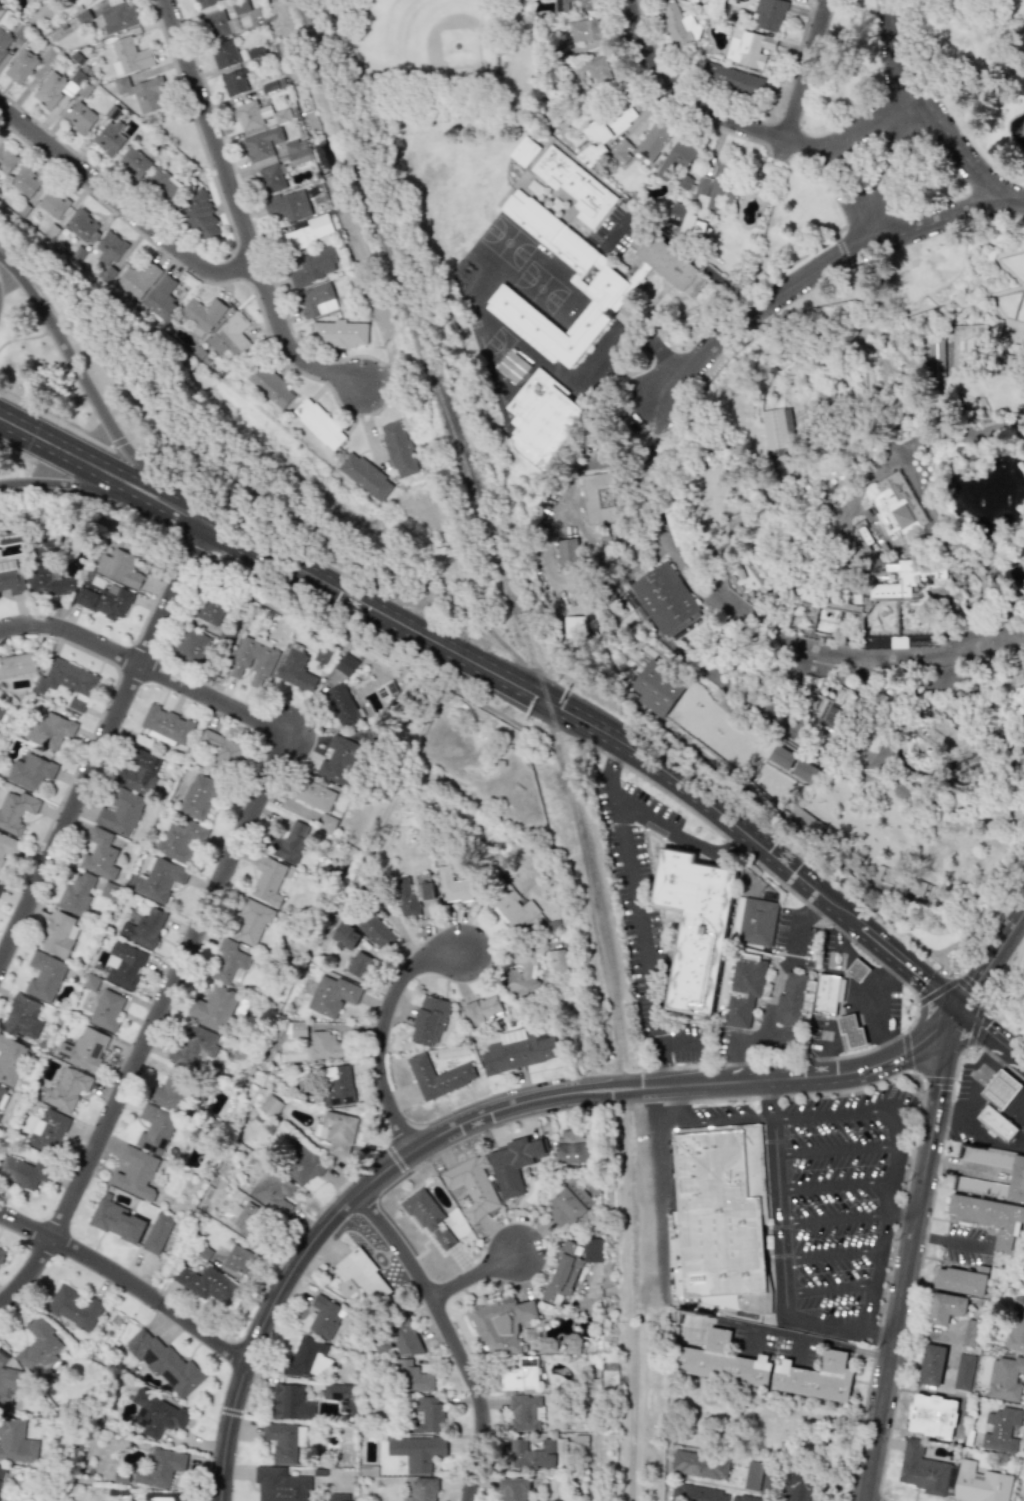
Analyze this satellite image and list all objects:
building: (205, 3)
building: (590, 4)
building: (562, 5)
building: (240, 6)
building: (1, 9)
building: (769, 14)
building: (116, 17)
building: (679, 24)
building: (218, 25)
building: (587, 29)
building: (4, 41)
road: (343, 42)
park: (434, 44)
building: (749, 48)
building: (224, 53)
building: (129, 56)
building: (20, 66)
building: (599, 67)
building: (731, 78)
road: (801, 79)
building: (234, 82)
building: (52, 89)
building: (143, 93)
building: (583, 97)
road: (944, 104)
road: (698, 107)
building: (250, 115)
building: (80, 117)
road: (935, 117)
road: (871, 120)
building: (609, 125)
building: (109, 138)
building: (656, 138)
building: (261, 143)
building: (295, 151)
building: (525, 151)
building: (622, 151)
building: (678, 156)
building: (6, 160)
building: (134, 162)
building: (271, 178)
building: (25, 181)
building: (684, 182)
building: (724, 183)
building: (162, 184)
building: (575, 185)
building: (701, 191)
road: (846, 196)
building: (52, 205)
road: (125, 205)
building: (288, 205)
road: (242, 214)
building: (678, 214)
building: (199, 215)
road: (932, 217)
building: (81, 225)
building: (700, 231)
building: (306, 233)
building: (110, 254)
road: (996, 258)
road: (819, 265)
building: (315, 266)
road: (956, 274)
building: (137, 279)
building: (583, 283)
road: (889, 293)
road: (991, 293)
building: (161, 298)
building: (317, 300)
building: (202, 315)
road: (1023, 323)
fountain: (1011, 329)
road: (624, 331)
building: (339, 333)
road: (33, 335)
building: (230, 336)
road: (1017, 341)
building: (513, 367)
road: (901, 372)
road: (885, 382)
road: (87, 385)
building: (271, 386)
road: (903, 386)
road: (921, 395)
road: (855, 403)
building: (966, 412)
road: (54, 419)
building: (543, 420)
building: (319, 423)
building: (778, 427)
road: (1021, 429)
road: (957, 430)
road: (134, 436)
building: (399, 448)
road: (67, 452)
building: (365, 476)
road: (66, 482)
building: (667, 488)
building: (607, 497)
road: (158, 500)
road: (653, 503)
building: (897, 504)
road: (798, 505)
park: (844, 506)
road: (283, 507)
road: (192, 518)
building: (675, 522)
road: (1013, 527)
road: (740, 529)
road: (1019, 531)
building: (805, 534)
road: (996, 538)
road: (948, 539)
road: (833, 547)
road: (542, 548)
road: (979, 553)
building: (568, 554)
building: (872, 559)
building: (695, 560)
road: (638, 562)
building: (119, 568)
road: (786, 568)
road: (719, 574)
building: (11, 578)
building: (47, 579)
road: (602, 579)
building: (884, 585)
road: (937, 586)
building: (664, 597)
road: (702, 597)
building: (103, 598)
road: (604, 602)
road: (706, 603)
building: (207, 609)
road: (1006, 619)
road: (601, 633)
road: (744, 638)
road: (784, 641)
road: (755, 643)
building: (191, 646)
railway: (529, 646)
road: (946, 653)
road: (395, 659)
building: (252, 661)
building: (1022, 661)
building: (18, 664)
building: (345, 664)
road: (144, 666)
road: (727, 666)
building: (296, 668)
road: (773, 669)
building: (740, 670)
road: (997, 671)
road: (865, 673)
road: (969, 675)
road: (755, 676)
building: (67, 679)
road: (720, 681)
building: (805, 682)
building: (657, 684)
road: (791, 685)
road: (881, 694)
building: (862, 699)
road: (874, 699)
road: (902, 699)
building: (76, 704)
building: (341, 705)
road: (798, 708)
road: (986, 708)
building: (0, 712)
building: (828, 715)
road: (1018, 723)
building: (167, 725)
road: (783, 727)
building: (51, 730)
road: (602, 730)
road: (798, 733)
road: (870, 733)
building: (948, 735)
road: (100, 744)
road: (804, 745)
building: (220, 747)
road: (617, 749)
road: (801, 751)
road: (800, 753)
building: (782, 754)
building: (340, 760)
road: (822, 761)
road: (610, 767)
building: (970, 768)
building: (804, 769)
building: (30, 771)
building: (139, 772)
road: (729, 789)
building: (314, 795)
building: (198, 797)
building: (15, 810)
road: (966, 811)
building: (120, 813)
building: (806, 819)
road: (652, 820)
building: (326, 822)
building: (180, 840)
building: (288, 842)
building: (8, 846)
road: (718, 848)
building: (100, 854)
road: (770, 874)
building: (159, 879)
building: (268, 880)
building: (904, 880)
building: (0, 884)
building: (453, 886)
building: (76, 894)
building: (414, 894)
building: (514, 908)
road: (637, 908)
road: (812, 908)
building: (757, 921)
building: (250, 922)
building: (696, 925)
road: (983, 926)
building: (143, 927)
building: (375, 930)
building: (59, 935)
building: (345, 936)
road: (839, 937)
road: (990, 956)
road: (848, 959)
building: (557, 961)
building: (229, 962)
building: (360, 964)
building: (123, 965)
building: (857, 968)
gas station: (857, 968)
building: (522, 969)
road: (945, 972)
road: (887, 975)
building: (45, 976)
road: (868, 977)
road: (772, 987)
road: (935, 989)
road: (969, 989)
road: (988, 991)
building: (826, 993)
building: (332, 995)
road: (881, 1002)
traffic signals: (957, 1006)
building: (212, 1007)
road: (923, 1009)
building: (106, 1010)
building: (483, 1010)
building: (22, 1017)
road: (859, 1019)
building: (430, 1020)
road: (878, 1022)
road: (975, 1023)
road: (835, 1025)
road: (154, 1026)
building: (298, 1029)
road: (611, 1029)
building: (851, 1029)
gas station: (851, 1029)
road: (385, 1031)
road: (990, 1033)
road: (867, 1034)
road: (887, 1036)
road: (970, 1038)
road: (677, 1039)
road: (844, 1040)
road: (834, 1045)
building: (192, 1046)
building: (325, 1046)
road: (827, 1047)
building: (83, 1049)
road: (906, 1050)
building: (519, 1051)
road: (795, 1058)
building: (11, 1059)
road: (738, 1061)
road: (660, 1062)
building: (438, 1076)
building: (336, 1085)
building: (67, 1088)
building: (1001, 1089)
building: (170, 1091)
building: (2, 1094)
building: (270, 1105)
road: (652, 1105)
road: (834, 1113)
building: (0, 1114)
road: (486, 1115)
road: (729, 1120)
building: (997, 1122)
road: (671, 1123)
road: (896, 1127)
building: (155, 1129)
building: (47, 1131)
building: (337, 1132)
building: (570, 1148)
road: (836, 1150)
building: (987, 1157)
road: (910, 1158)
road: (896, 1163)
building: (515, 1164)
building: (304, 1165)
road: (968, 1168)
building: (20, 1173)
building: (136, 1173)
building: (1017, 1181)
road: (836, 1185)
building: (473, 1186)
parking lot: (833, 1186)
building: (980, 1186)
building: (272, 1192)
road: (893, 1198)
road: (766, 1200)
building: (569, 1204)
road: (906, 1215)
building: (988, 1216)
building: (248, 1218)
building: (430, 1219)
building: (117, 1220)
building: (720, 1220)
road: (834, 1220)
road: (885, 1232)
building: (157, 1233)
road: (924, 1241)
road: (952, 1241)
building: (592, 1250)
road: (914, 1253)
road: (830, 1254)
building: (2, 1255)
road: (780, 1257)
building: (238, 1259)
road: (878, 1267)
building: (564, 1272)
road: (659, 1274)
building: (362, 1275)
road: (478, 1276)
building: (962, 1279)
road: (128, 1282)
building: (206, 1283)
road: (829, 1287)
road: (871, 1306)
building: (74, 1307)
building: (946, 1307)
building: (324, 1316)
building: (501, 1323)
building: (971, 1333)
road: (452, 1336)
building: (1016, 1336)
road: (817, 1338)
building: (397, 1339)
building: (568, 1343)
building: (548, 1345)
building: (41, 1351)
building: (307, 1358)
building: (721, 1361)
building: (165, 1363)
building: (932, 1364)
building: (964, 1372)
building: (520, 1375)
building: (411, 1377)
building: (816, 1377)
building: (1005, 1377)
building: (7, 1381)
building: (340, 1395)
building: (290, 1403)
road: (626, 1411)
railway: (633, 1411)
building: (525, 1412)
building: (156, 1414)
building: (427, 1414)
building: (932, 1415)
building: (757, 1423)
building: (1001, 1430)
building: (284, 1441)
building: (16, 1442)
building: (417, 1451)
building: (537, 1453)
building: (700, 1461)
building: (159, 1467)
road: (805, 1469)
building: (923, 1469)
building: (753, 1472)
building: (2, 1475)
building: (280, 1485)
building: (980, 1485)
building: (797, 1487)
building: (422, 1489)
building: (513, 1489)
building: (696, 1494)
building: (162, 1497)
building: (337, 1497)
building: (746, 1497)
road: (1023, 1499)

